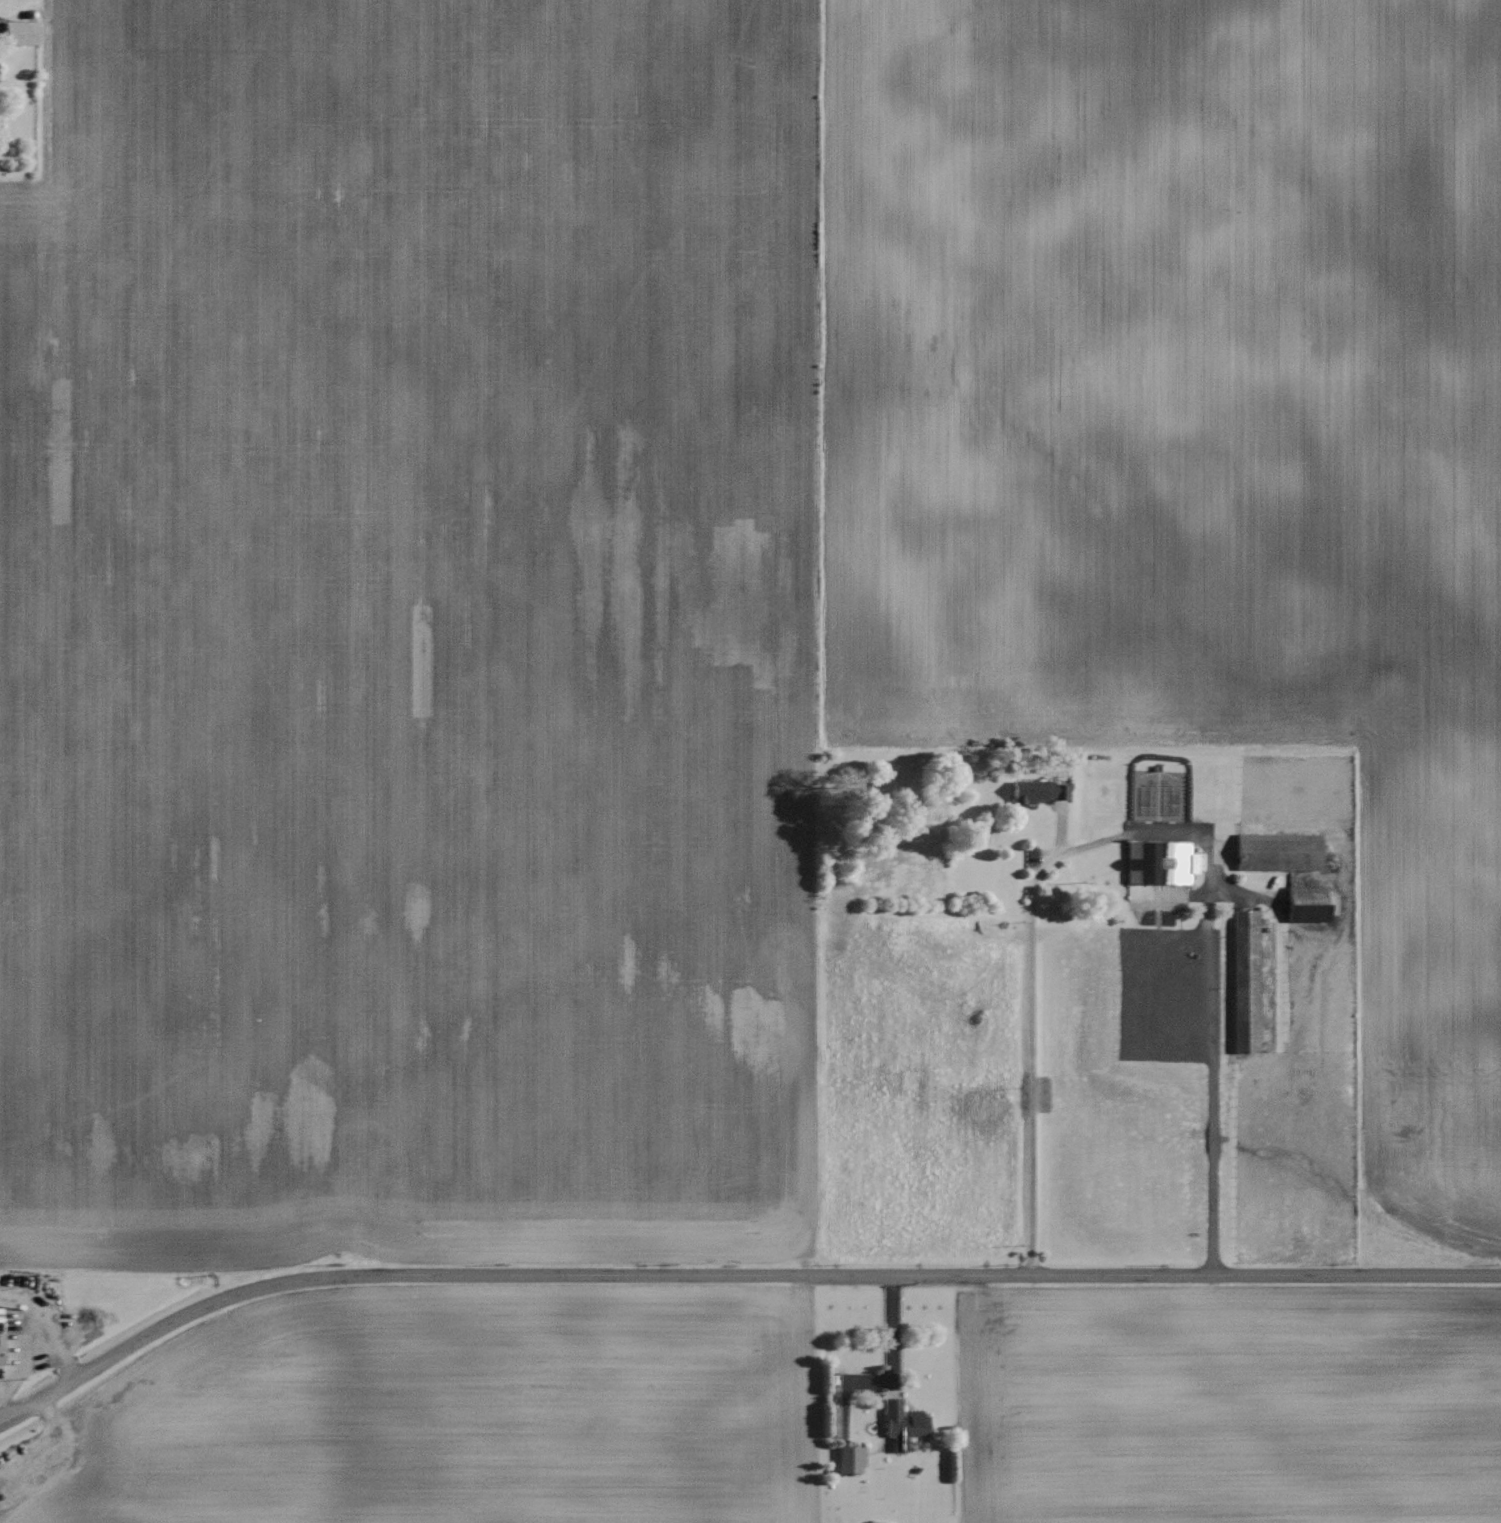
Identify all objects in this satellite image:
building: (23, 33)
building: (1029, 791)
road: (1174, 833)
road: (1031, 1032)
road: (732, 1276)
road: (892, 1331)
building: (3, 1347)
building: (905, 1422)
building: (852, 1458)

